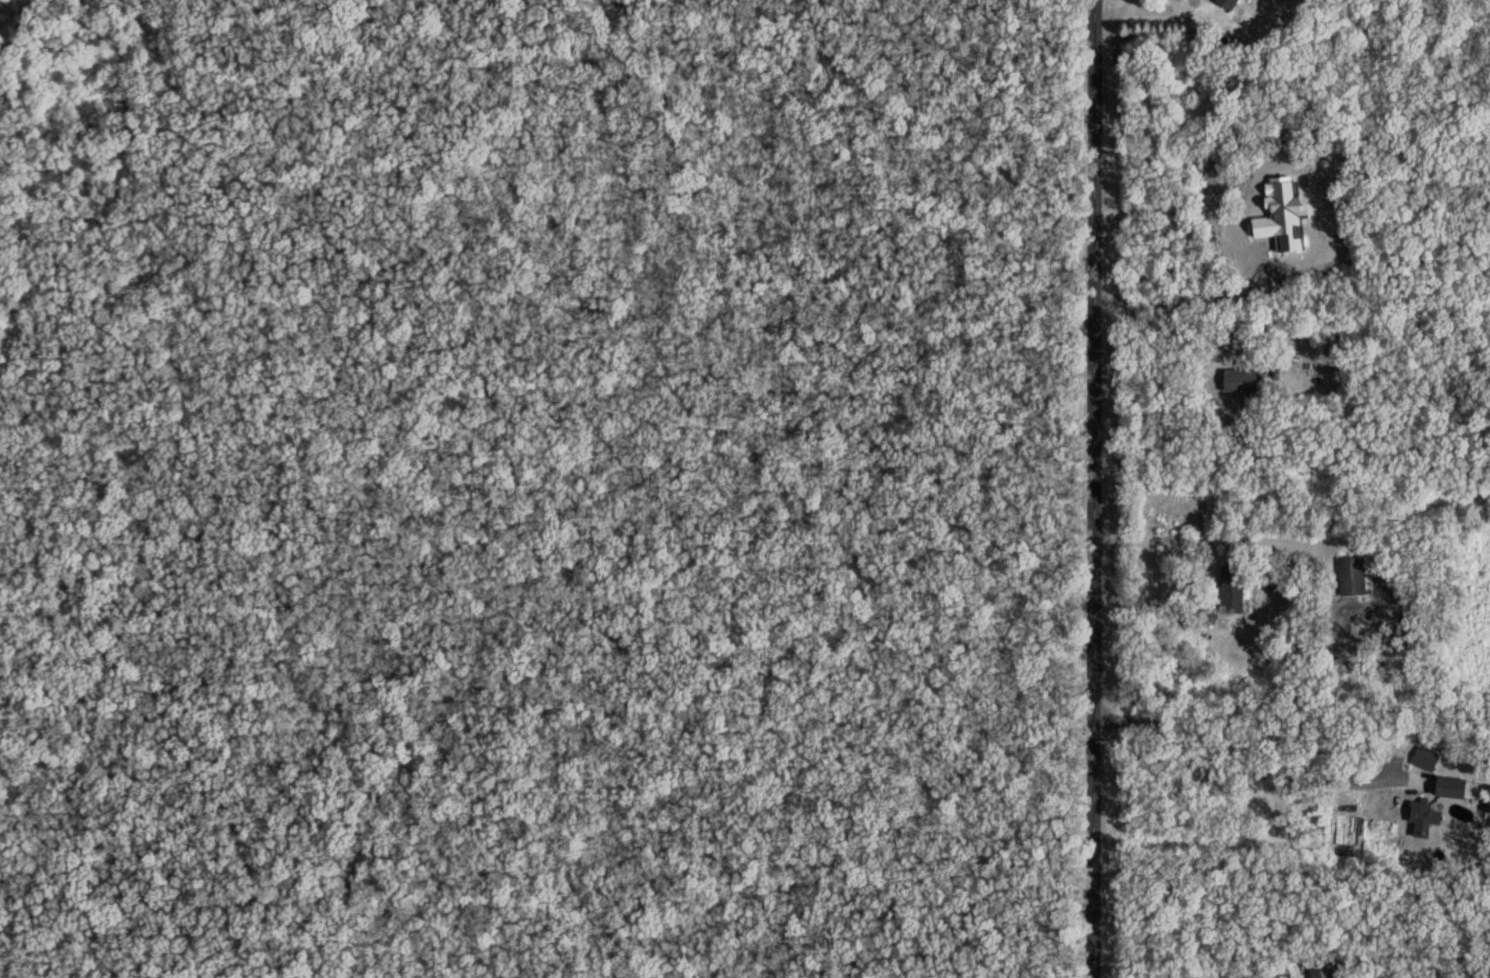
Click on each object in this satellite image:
building: (1233, 3)
building: (1262, 208)
road: (1162, 359)
building: (1244, 375)
road: (1095, 489)
road: (1203, 539)
building: (1353, 577)
building: (1232, 589)
road: (1151, 600)
building: (1427, 759)
road: (1234, 770)
building: (1452, 785)
building: (1425, 819)
building: (1321, 968)

